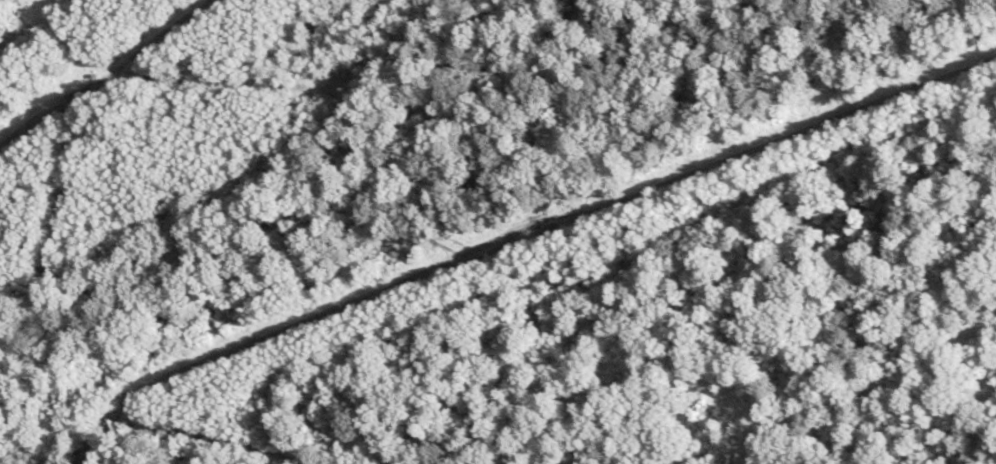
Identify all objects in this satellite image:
road: (111, 80)

